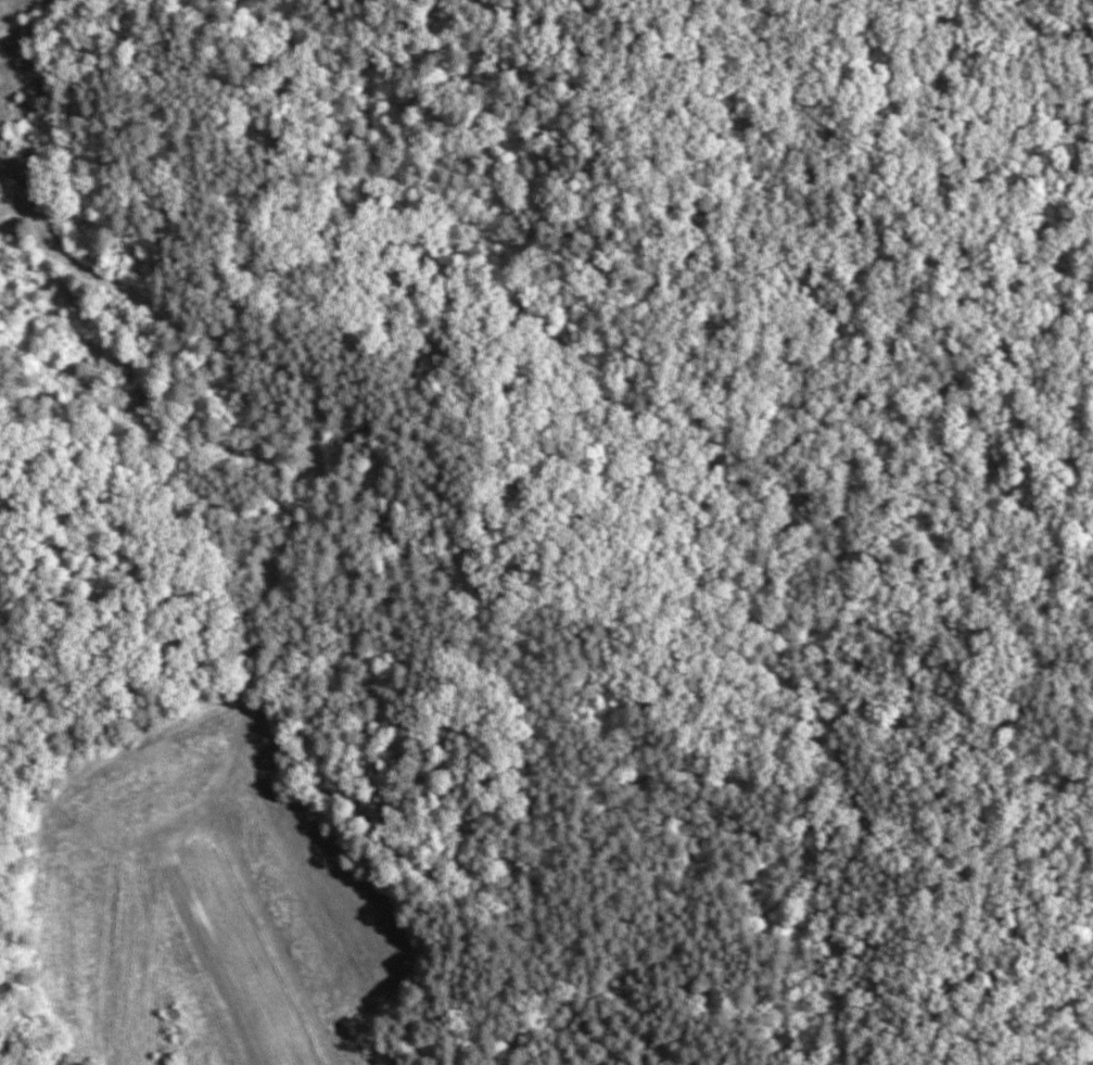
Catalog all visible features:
road: (544, 15)

